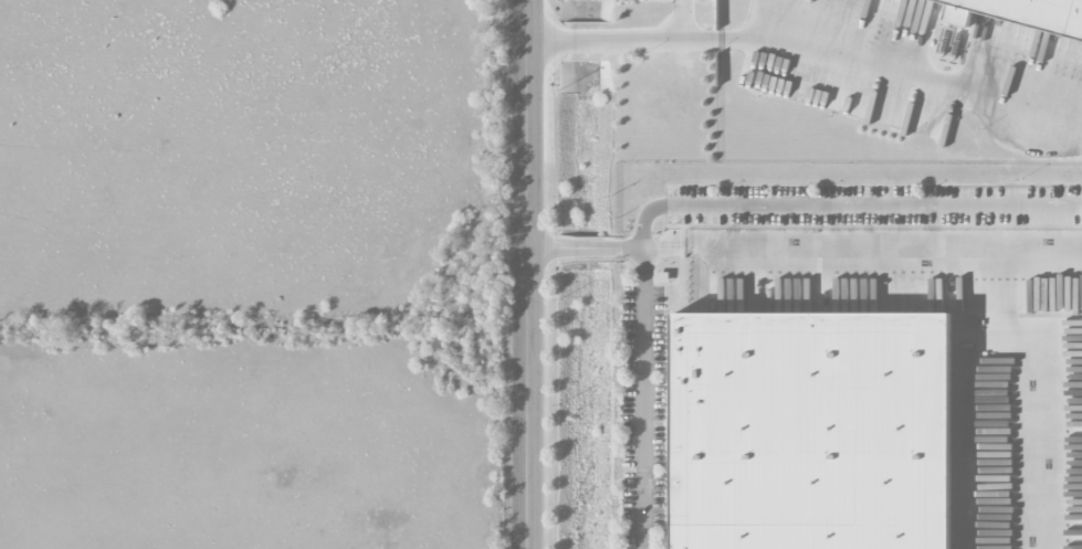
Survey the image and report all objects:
building: (1022, 13)
road: (682, 21)
road: (622, 43)
road: (899, 70)
road: (845, 207)
road: (883, 245)
road: (653, 247)
road: (575, 249)
road: (527, 274)
building: (661, 277)
road: (643, 399)
building: (811, 431)

